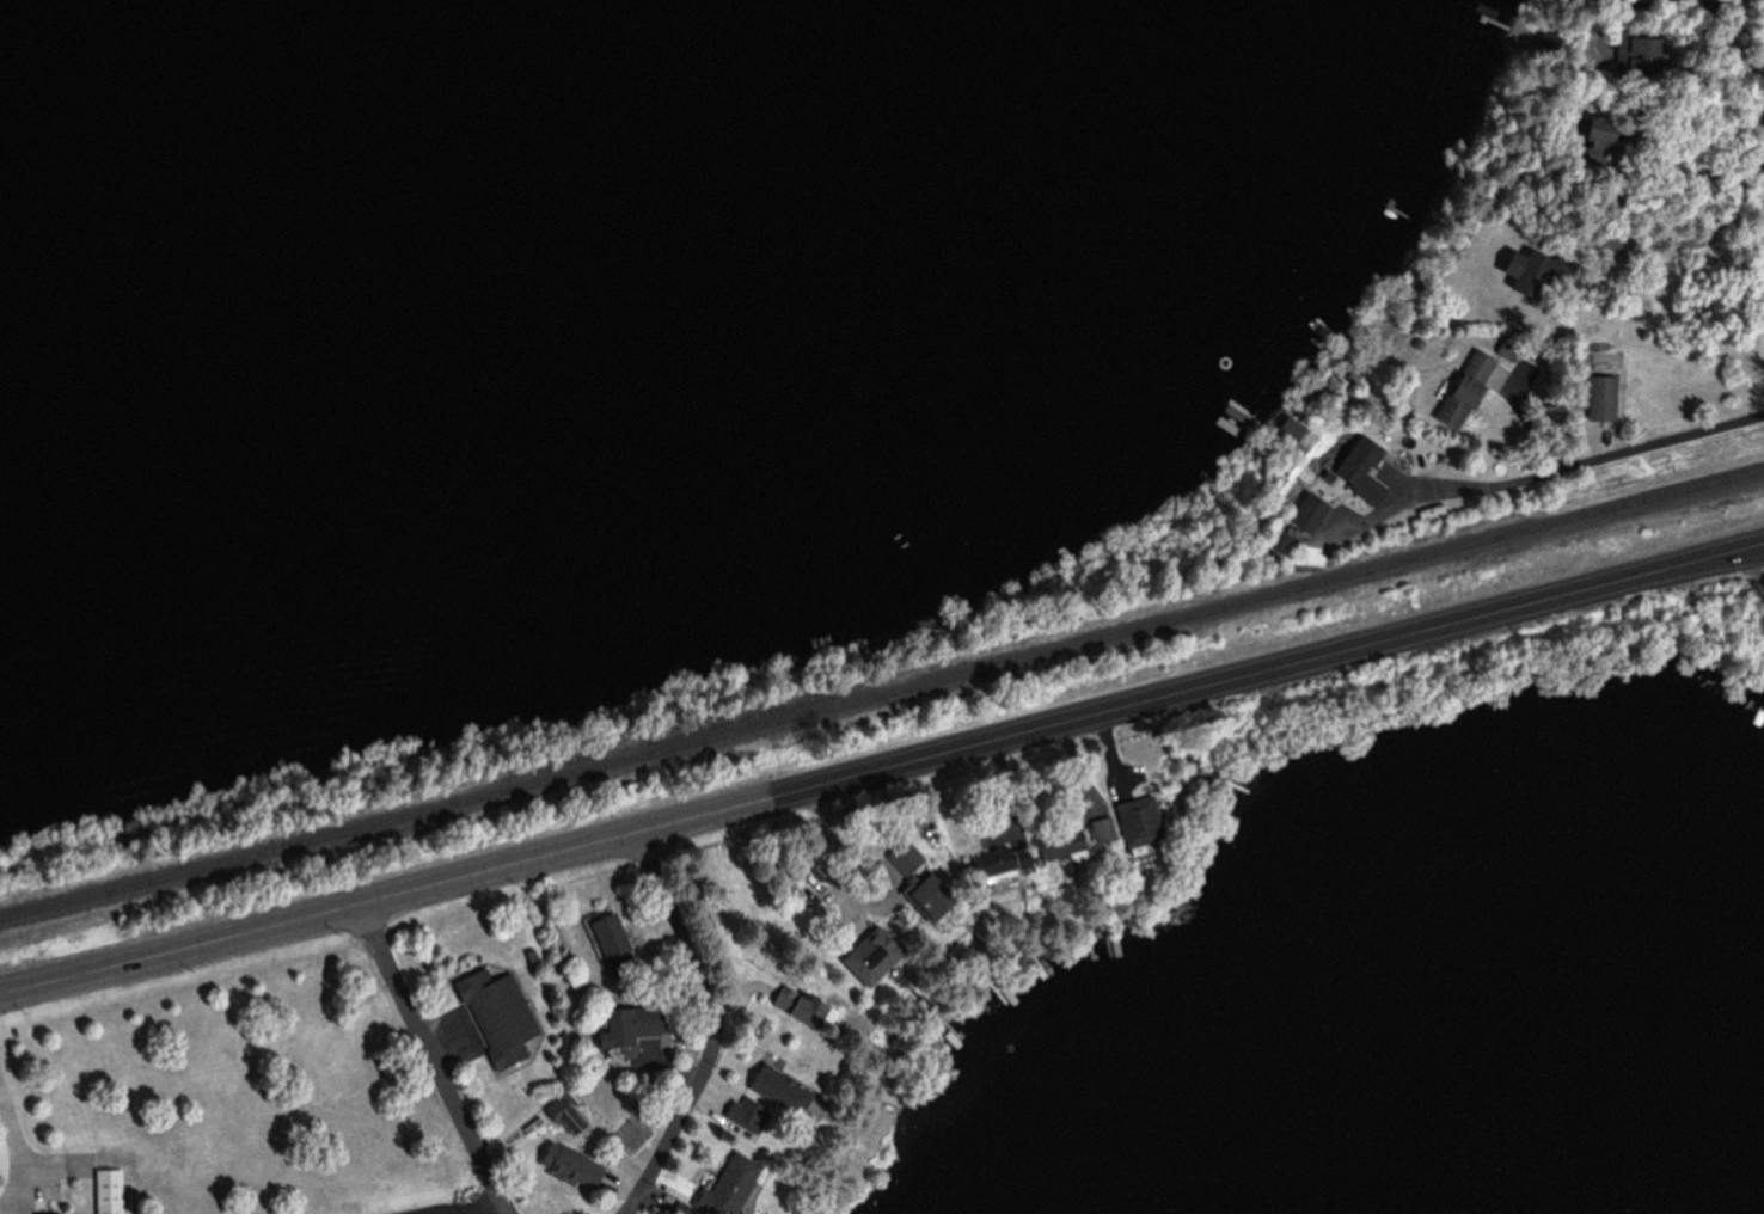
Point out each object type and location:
road: (1710, 8)
road: (1677, 277)
building: (1460, 391)
building: (1595, 399)
road: (1551, 467)
building: (1354, 471)
building: (1300, 513)
railway: (882, 692)
road: (882, 768)
building: (1129, 827)
building: (1094, 832)
building: (1055, 852)
building: (899, 858)
building: (1000, 869)
road: (860, 889)
building: (918, 896)
building: (606, 945)
building: (864, 959)
building: (494, 1017)
road: (710, 1026)
building: (624, 1028)
road: (430, 1060)
building: (772, 1087)
building: (559, 1155)
road: (18, 1163)
building: (702, 1190)
building: (105, 1192)
road: (484, 1206)

